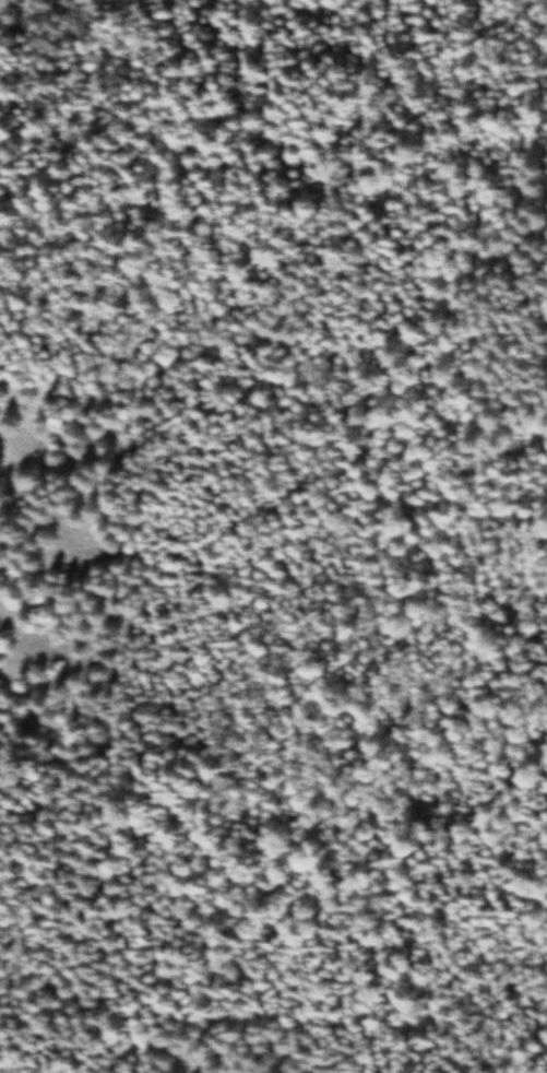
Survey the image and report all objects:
park: (273, 536)

